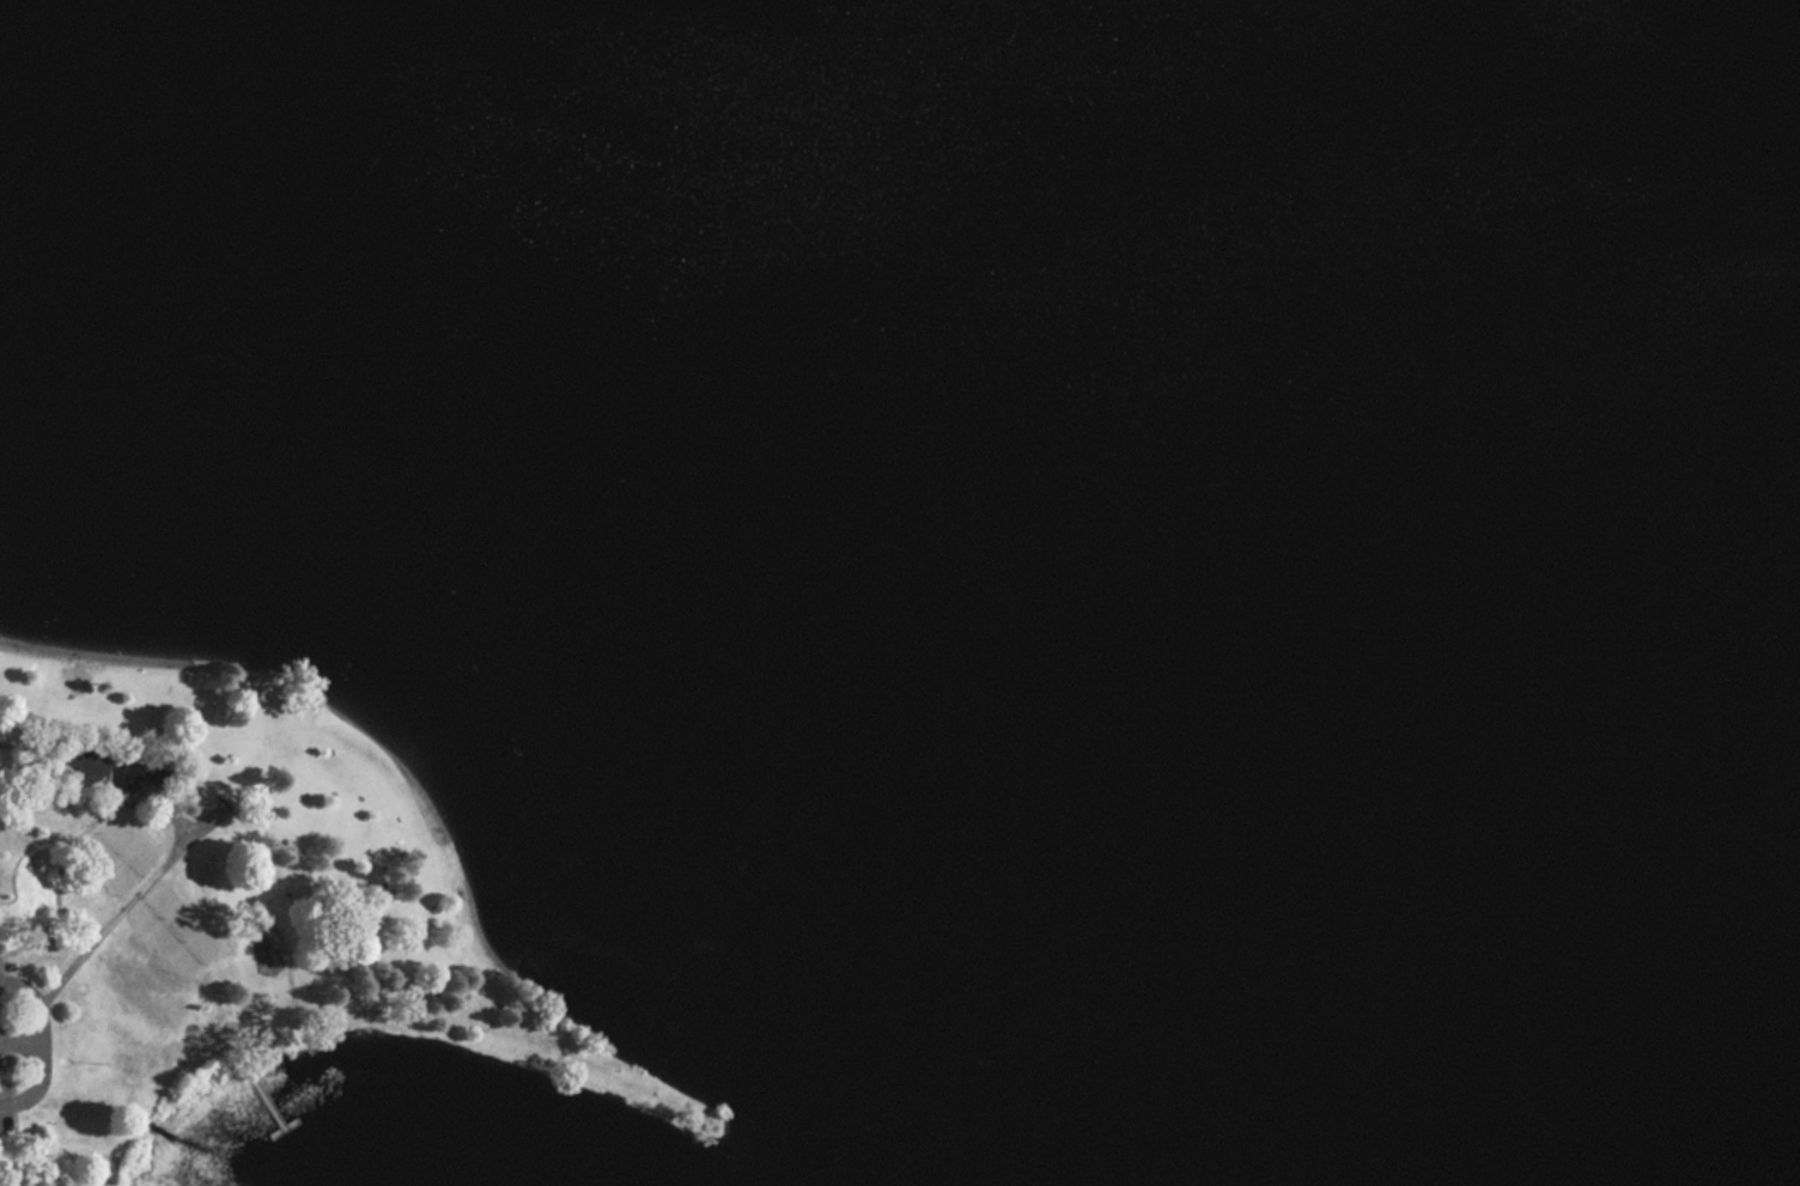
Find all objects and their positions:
road: (73, 742)
building: (78, 761)
building: (102, 767)
building: (148, 778)
road: (67, 779)
road: (166, 809)
park: (122, 856)
road: (61, 860)
road: (126, 905)
park: (231, 906)
park: (176, 930)
road: (19, 1041)
road: (41, 1046)
road: (12, 1051)
parking lot: (5, 1068)
pier: (270, 1103)
pier: (294, 1135)
road: (56, 1141)

